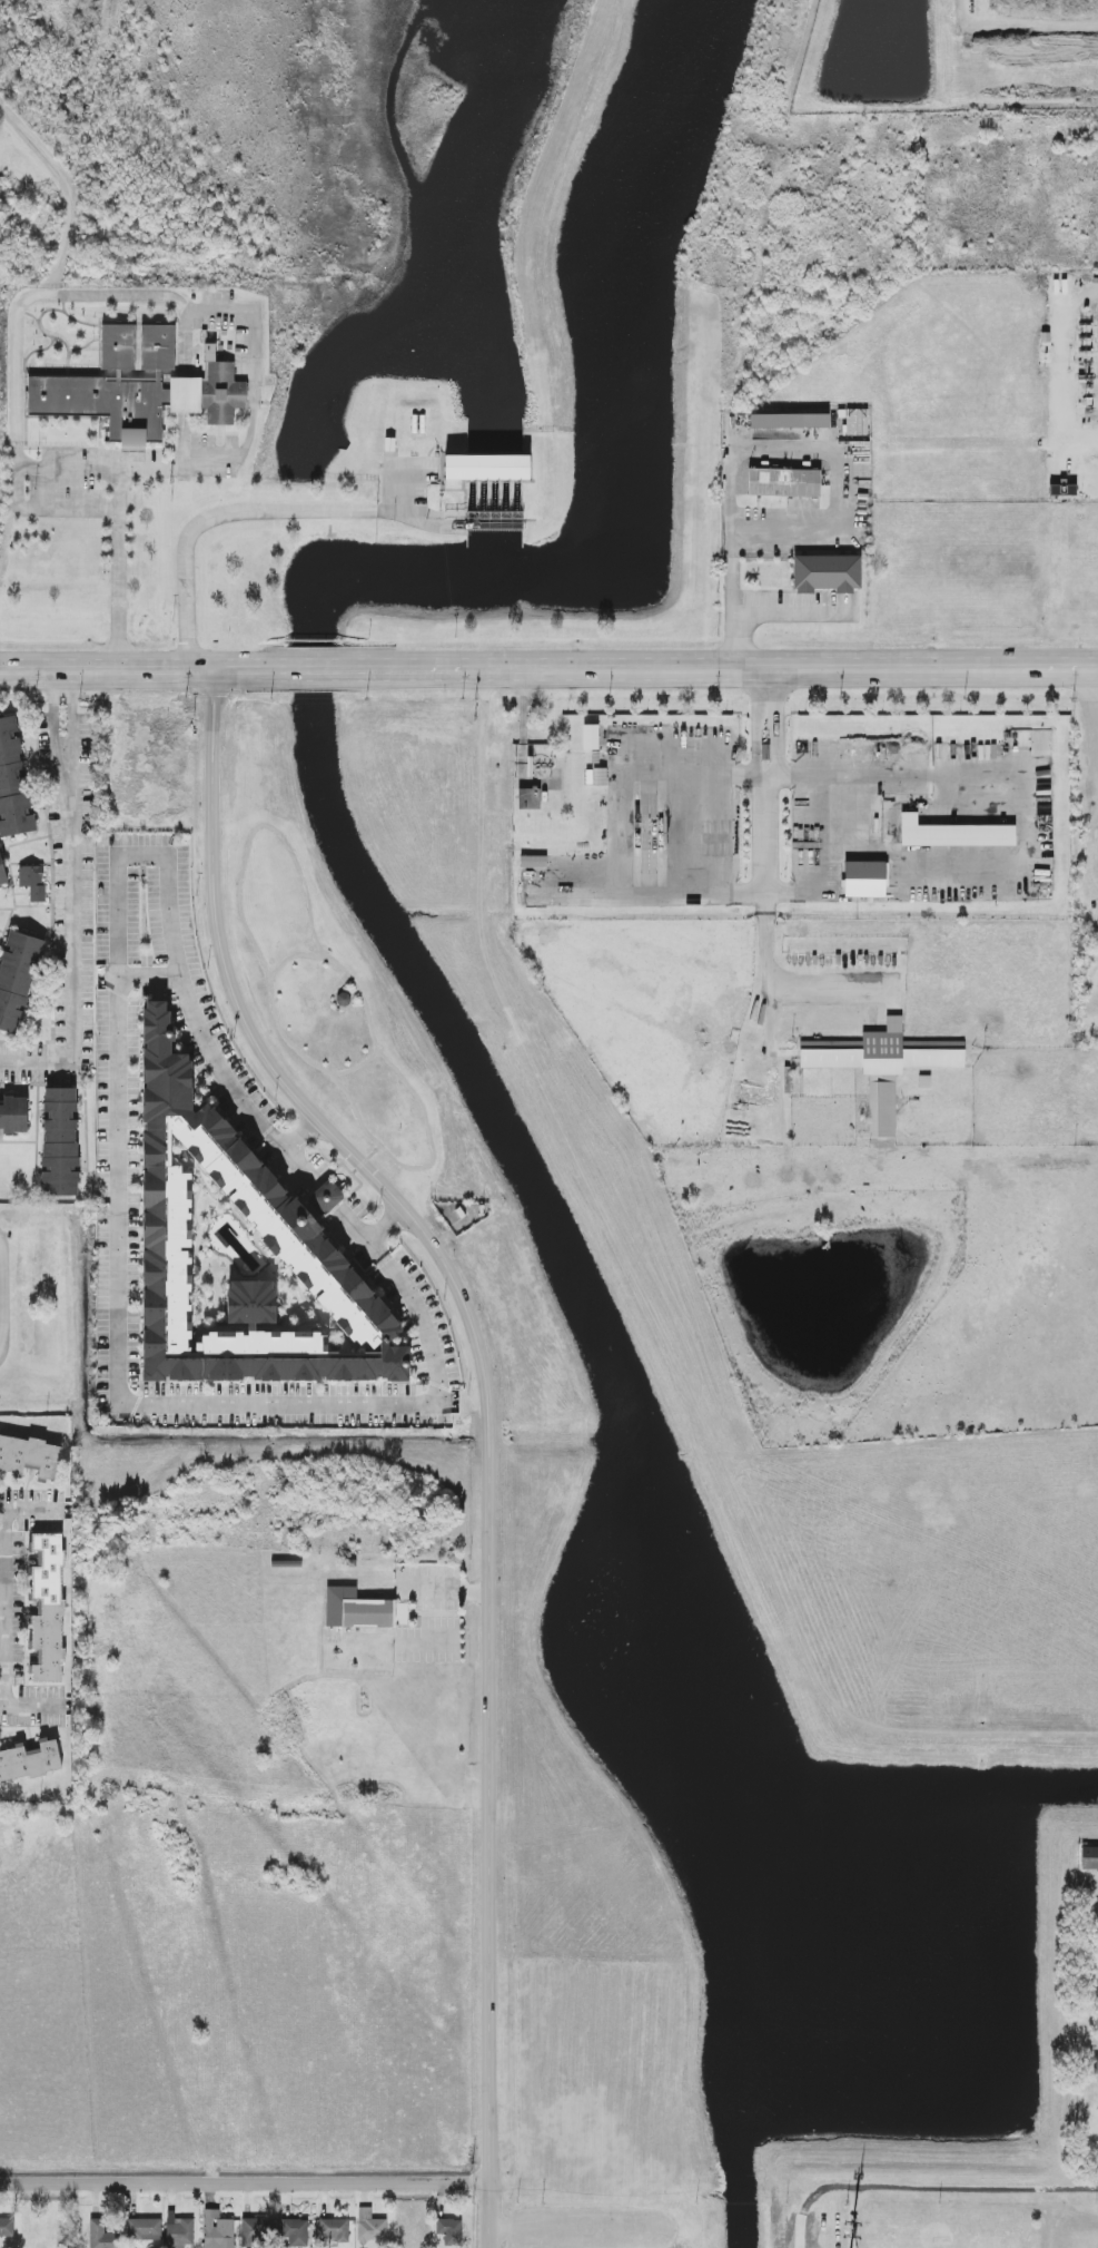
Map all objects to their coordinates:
road: (127, 294)
road: (1065, 360)
building: (789, 421)
road: (802, 448)
road: (184, 462)
road: (97, 469)
building: (484, 469)
building: (783, 482)
building: (1062, 489)
road: (210, 514)
road: (6, 536)
building: (827, 573)
road: (753, 603)
road: (132, 668)
road: (327, 668)
road: (743, 668)
road: (70, 709)
road: (56, 710)
building: (590, 737)
road: (763, 777)
building: (12, 784)
building: (528, 798)
building: (953, 834)
road: (289, 848)
building: (533, 861)
building: (2, 873)
building: (864, 880)
building: (32, 882)
road: (72, 942)
road: (295, 955)
road: (149, 975)
building: (17, 978)
building: (881, 1067)
road: (357, 1068)
building: (13, 1115)
road: (301, 1136)
building: (60, 1143)
road: (379, 1146)
road: (372, 1155)
road: (117, 1194)
road: (325, 1196)
road: (387, 1226)
building: (240, 1255)
road: (1, 1297)
road: (487, 1415)
building: (29, 1456)
road: (33, 1512)
road: (2, 1608)
road: (6, 1609)
building: (47, 1609)
building: (357, 1610)
road: (33, 1707)
building: (29, 1760)
building: (1089, 1857)
building: (1095, 2065)
road: (245, 2183)
road: (924, 2186)
building: (370, 2226)
building: (7, 2228)
building: (144, 2229)
building: (217, 2230)
building: (254, 2230)
building: (334, 2230)
building: (449, 2231)
building: (179, 2232)
building: (296, 2232)
building: (102, 2236)
park: (940, 2245)

